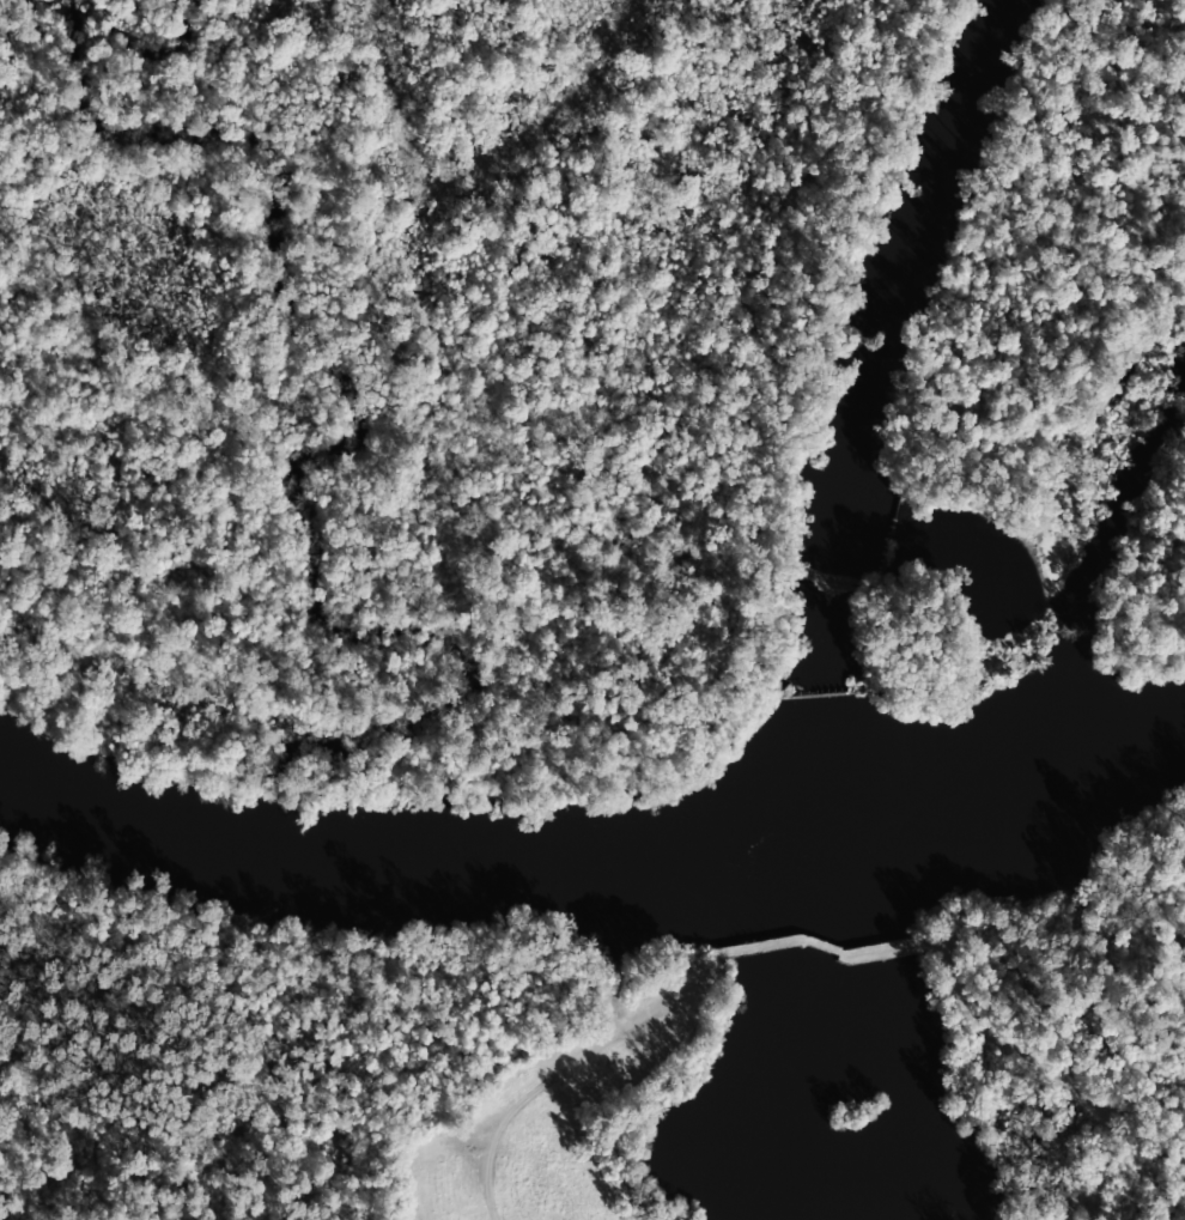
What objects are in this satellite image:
river: (592, 867)
road: (557, 1079)

